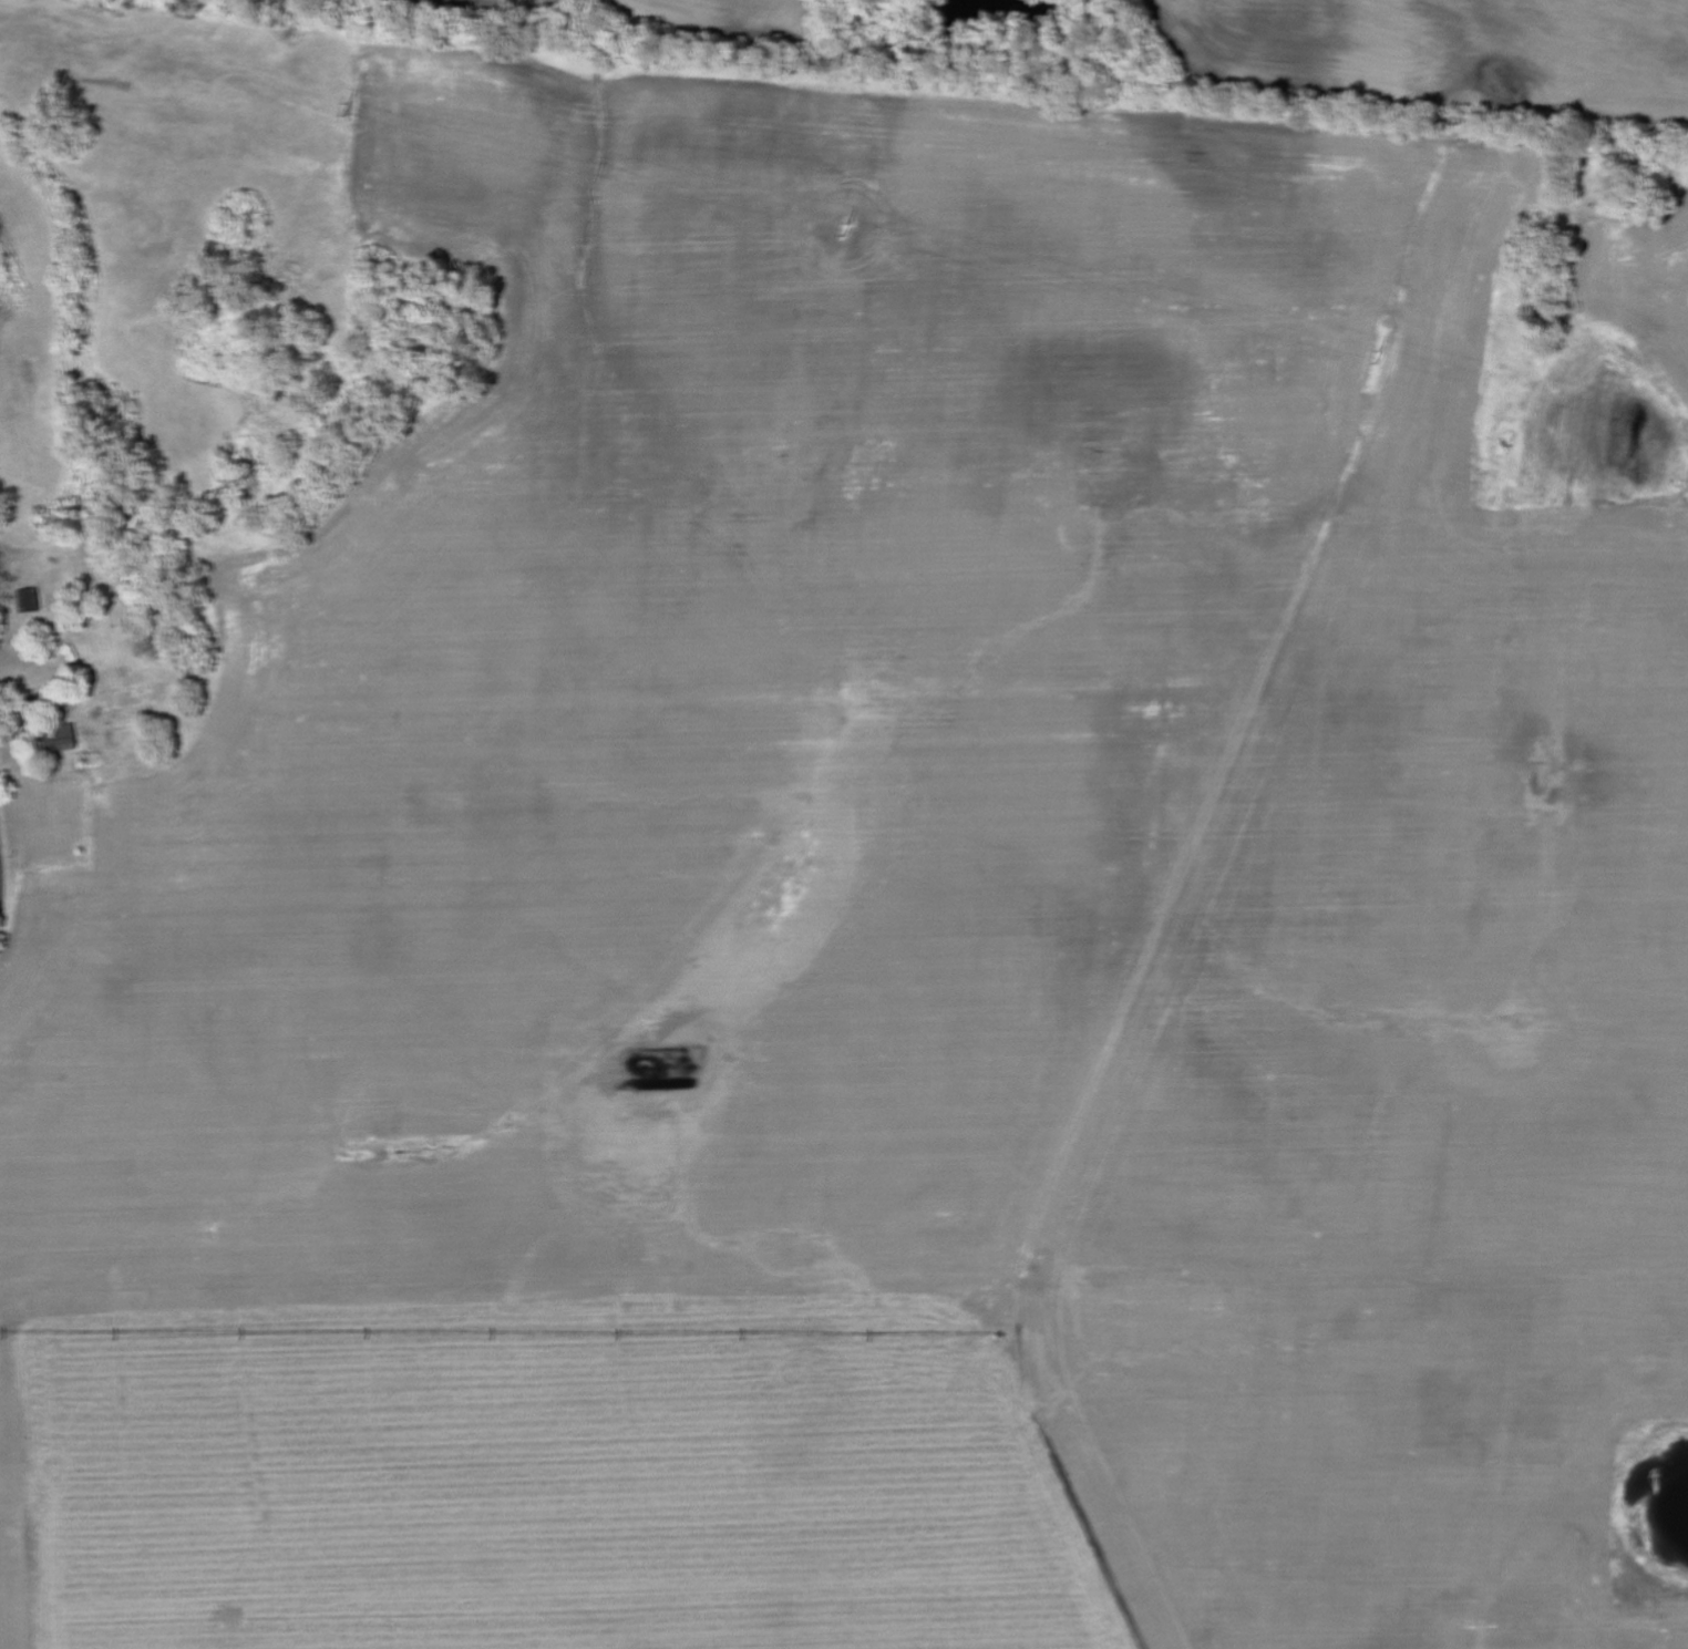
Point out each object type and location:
power tower: (350, 111)
power tower: (850, 230)
power tower: (1383, 357)
road: (1, 886)

